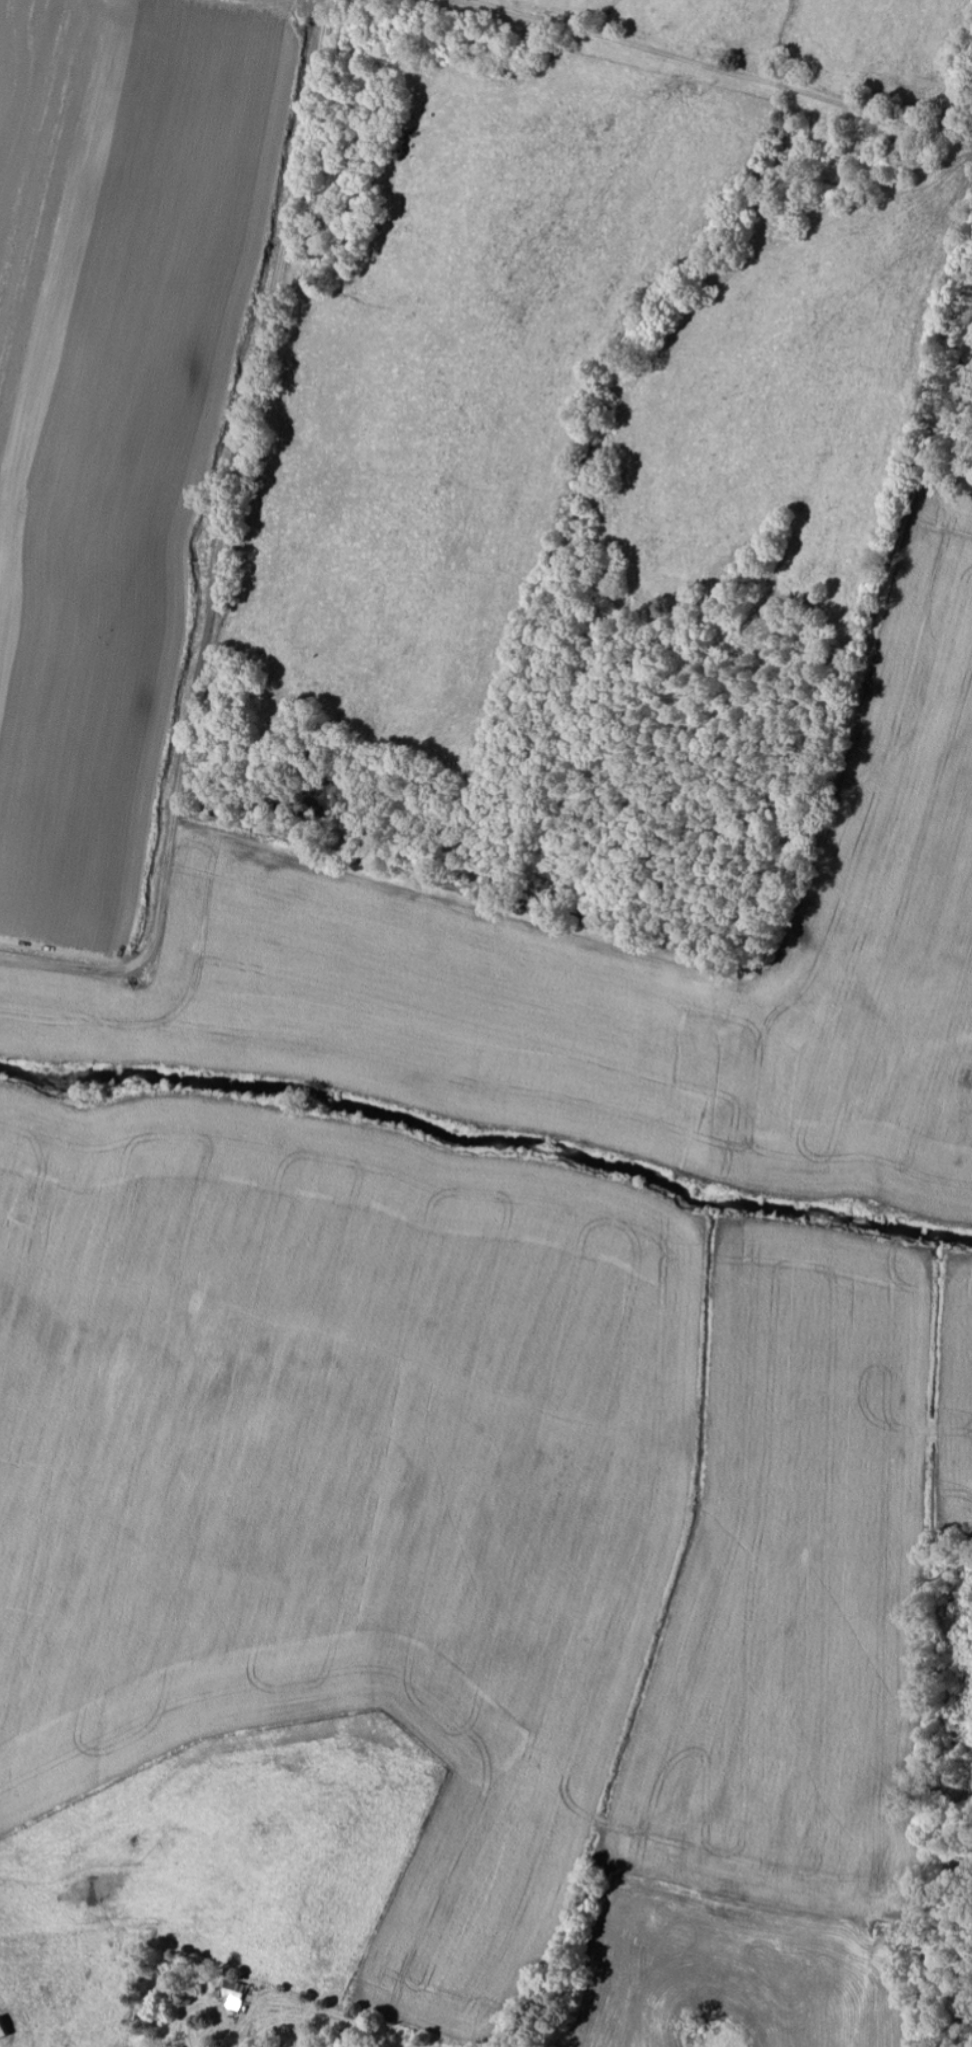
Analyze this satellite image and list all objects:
road: (673, 75)
road: (222, 553)
building: (240, 1994)

